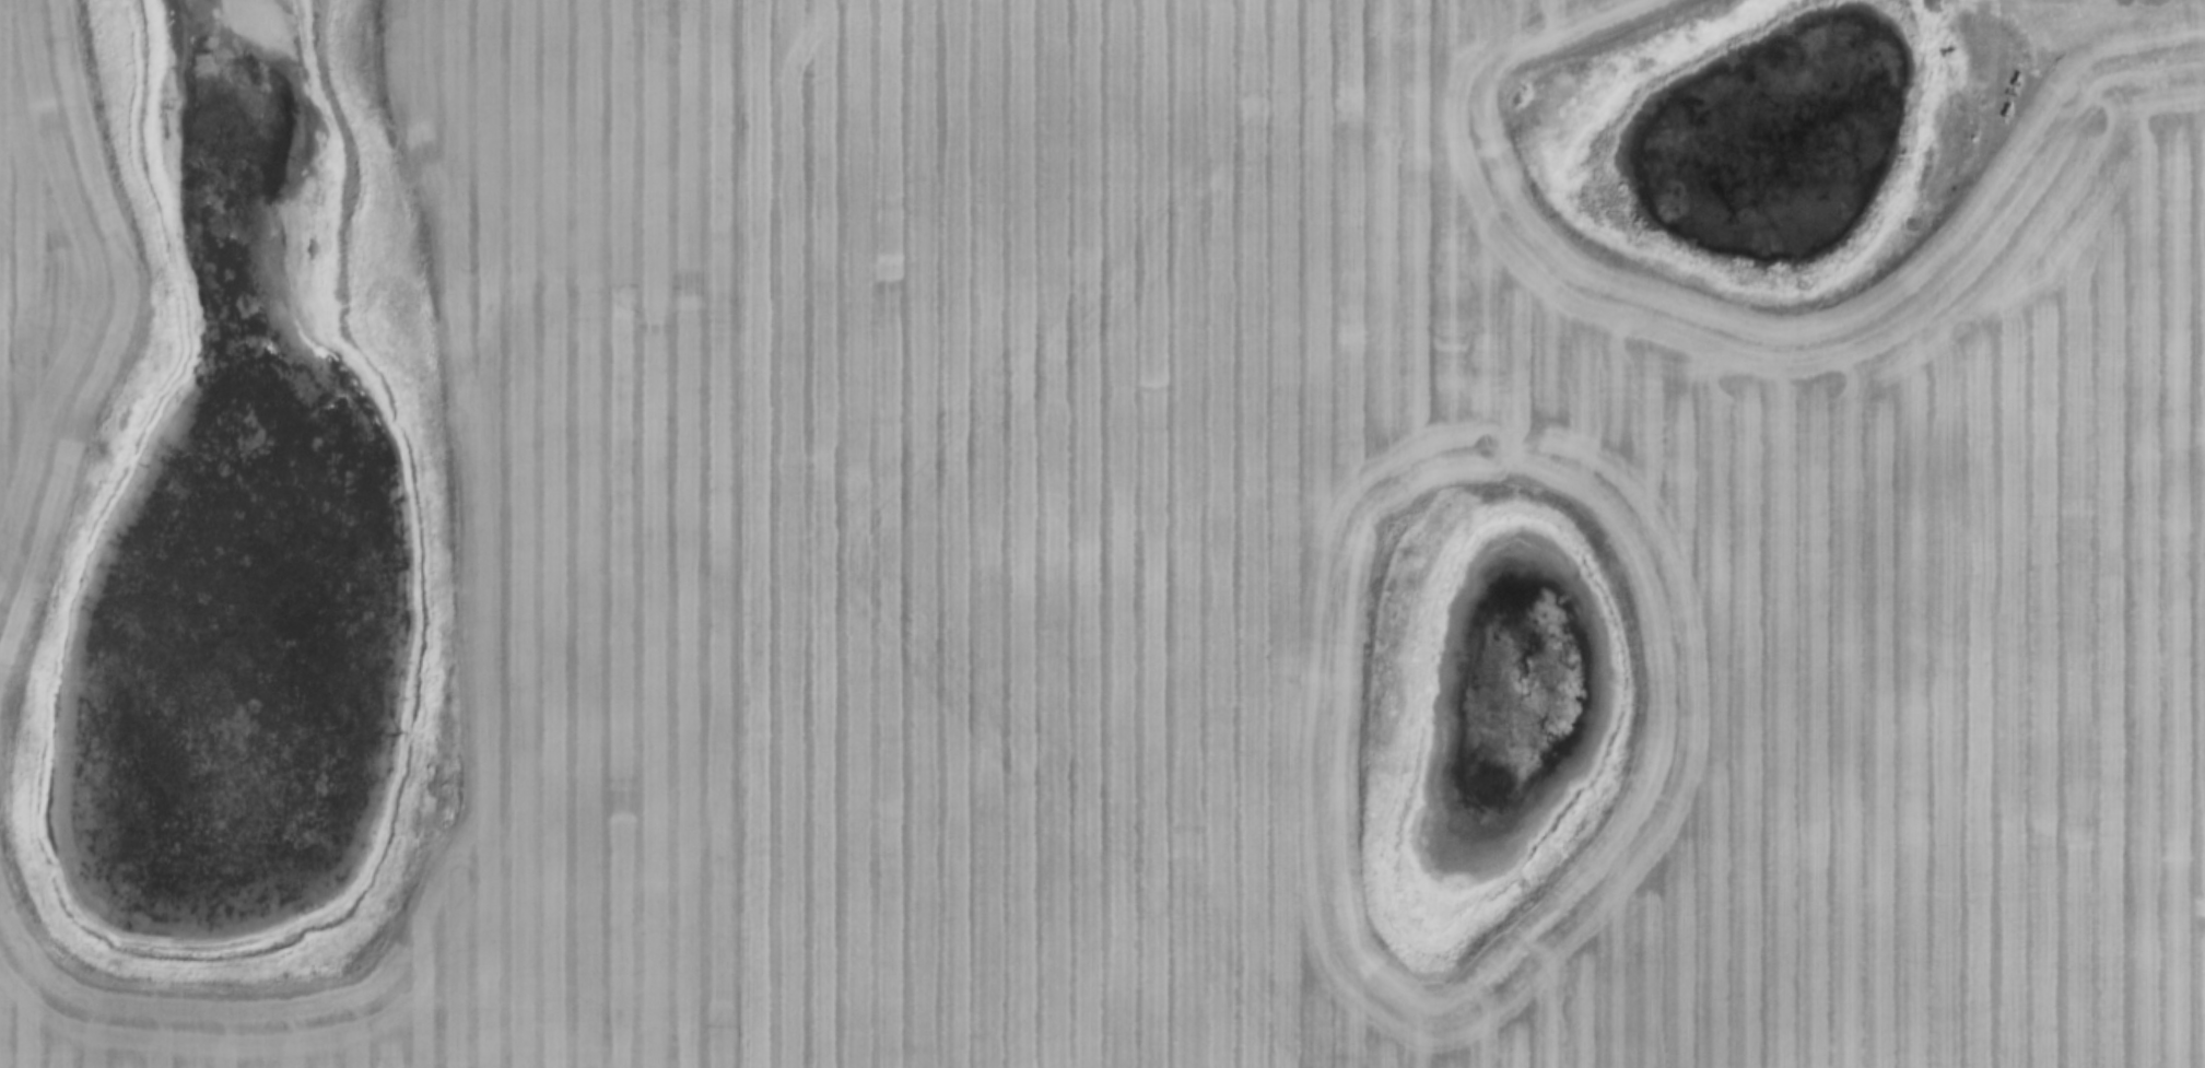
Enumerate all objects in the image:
building: (2180, 394)
road: (741, 533)

